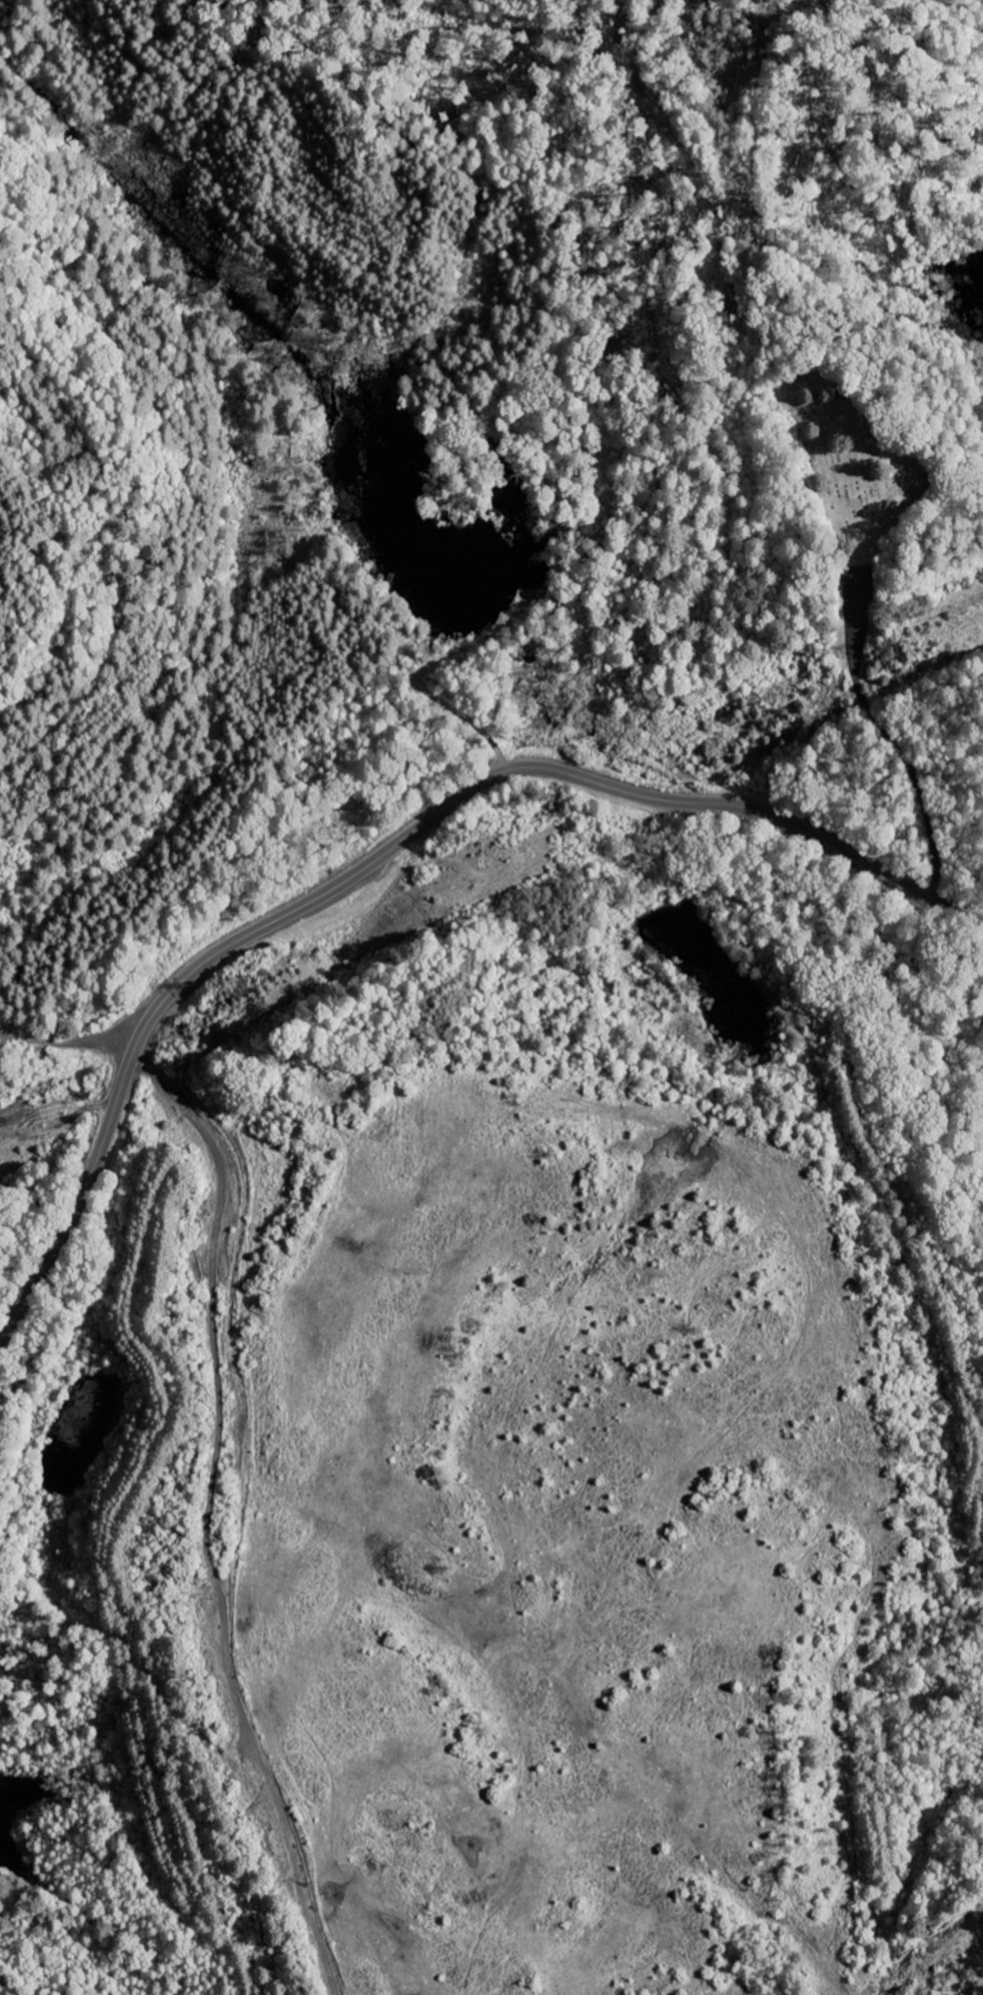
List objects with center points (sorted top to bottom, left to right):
road: (920, 618)
power tower: (898, 651)
road: (896, 745)
road: (388, 850)
power tower: (257, 984)
road: (77, 1040)
road: (918, 1277)
road: (233, 1515)

